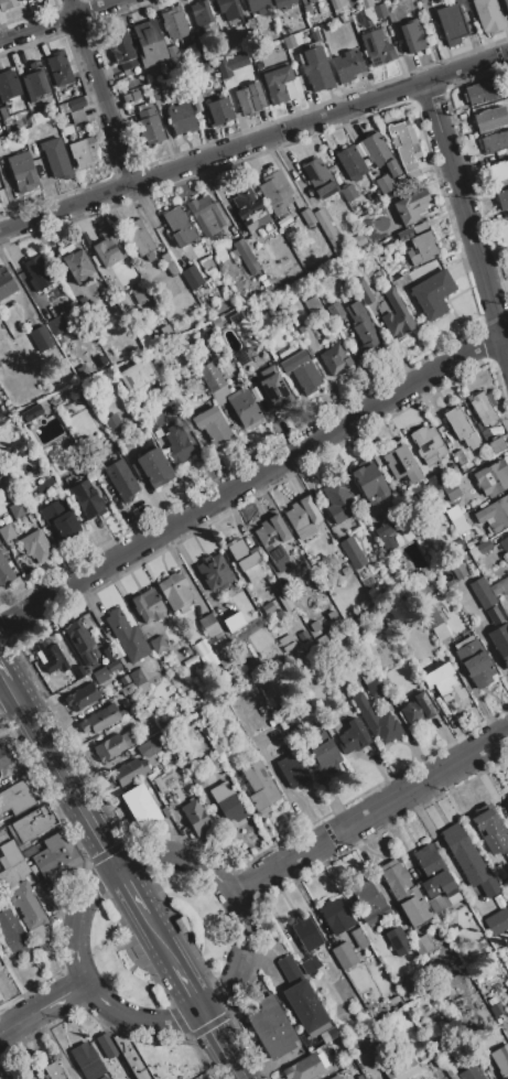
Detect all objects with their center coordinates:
building: (25, 0)
building: (305, 0)
building: (310, 0)
building: (342, 2)
building: (282, 3)
building: (334, 3)
building: (366, 3)
building: (8, 4)
building: (256, 6)
building: (462, 6)
building: (506, 6)
building: (228, 9)
building: (306, 10)
building: (379, 11)
building: (339, 12)
building: (487, 15)
building: (204, 18)
building: (344, 19)
road: (60, 21)
building: (174, 23)
building: (451, 24)
building: (270, 33)
building: (313, 33)
building: (411, 35)
building: (296, 39)
building: (288, 41)
building: (149, 43)
building: (197, 43)
building: (377, 47)
building: (121, 51)
building: (172, 52)
building: (347, 65)
building: (315, 67)
building: (58, 68)
building: (167, 72)
building: (33, 82)
building: (277, 83)
building: (8, 85)
building: (290, 89)
road: (102, 91)
building: (154, 91)
building: (482, 91)
building: (131, 96)
building: (249, 99)
building: (197, 101)
building: (76, 104)
building: (63, 108)
building: (218, 111)
building: (3, 112)
building: (76, 116)
building: (182, 118)
building: (490, 119)
building: (149, 125)
building: (495, 141)
road: (253, 143)
building: (404, 147)
building: (359, 149)
building: (0, 150)
building: (83, 152)
building: (378, 153)
building: (56, 160)
building: (350, 162)
building: (22, 171)
building: (499, 171)
building: (318, 179)
building: (382, 185)
building: (274, 192)
building: (502, 198)
building: (247, 206)
building: (410, 206)
building: (204, 215)
road: (467, 216)
building: (306, 217)
building: (179, 226)
building: (326, 227)
building: (420, 228)
building: (139, 237)
building: (358, 238)
building: (421, 247)
building: (106, 248)
building: (235, 253)
building: (246, 256)
building: (393, 257)
building: (95, 260)
building: (167, 263)
building: (206, 263)
building: (77, 265)
building: (212, 272)
building: (417, 272)
building: (37, 273)
building: (191, 277)
building: (4, 284)
building: (363, 291)
building: (196, 292)
building: (433, 293)
building: (139, 295)
building: (80, 303)
building: (312, 304)
building: (334, 310)
building: (394, 315)
building: (235, 316)
building: (56, 324)
building: (301, 328)
building: (363, 330)
building: (39, 338)
building: (261, 357)
building: (334, 359)
building: (0, 365)
building: (300, 369)
building: (24, 373)
building: (137, 375)
building: (210, 377)
building: (273, 388)
building: (220, 395)
building: (244, 406)
building: (484, 408)
building: (31, 412)
building: (457, 423)
building: (114, 425)
building: (212, 428)
building: (177, 444)
building: (426, 444)
building: (494, 446)
building: (460, 457)
building: (400, 464)
building: (152, 467)
building: (491, 478)
building: (121, 479)
building: (368, 481)
building: (4, 482)
road: (251, 482)
building: (45, 486)
building: (451, 492)
building: (87, 498)
building: (337, 501)
building: (18, 509)
building: (454, 511)
building: (494, 514)
building: (303, 517)
building: (61, 519)
building: (461, 525)
building: (7, 531)
building: (385, 536)
building: (467, 537)
building: (273, 540)
building: (504, 543)
building: (468, 544)
building: (35, 546)
building: (480, 548)
building: (353, 551)
building: (245, 559)
building: (456, 567)
building: (345, 571)
building: (4, 572)
building: (214, 572)
building: (175, 592)
building: (482, 592)
building: (284, 602)
building: (147, 606)
building: (267, 607)
building: (278, 613)
building: (332, 615)
building: (432, 618)
building: (234, 622)
building: (208, 625)
building: (314, 626)
building: (440, 632)
building: (127, 636)
building: (79, 641)
building: (500, 644)
building: (158, 645)
building: (218, 646)
building: (202, 648)
building: (106, 655)
building: (52, 656)
building: (225, 657)
building: (208, 660)
building: (474, 661)
building: (191, 662)
building: (78, 671)
building: (87, 671)
road: (3, 673)
building: (99, 673)
building: (72, 677)
building: (367, 678)
building: (139, 679)
building: (444, 683)
building: (374, 687)
building: (127, 689)
road: (15, 693)
building: (82, 697)
road: (11, 702)
building: (423, 704)
building: (412, 713)
building: (141, 714)
building: (100, 719)
building: (377, 721)
building: (352, 736)
building: (217, 745)
building: (109, 747)
building: (149, 747)
building: (325, 754)
building: (4, 756)
building: (187, 767)
building: (291, 770)
building: (129, 773)
building: (195, 779)
road: (71, 785)
building: (159, 785)
building: (259, 787)
building: (15, 798)
building: (507, 800)
building: (227, 802)
building: (140, 806)
building: (164, 811)
road: (370, 811)
building: (195, 818)
building: (31, 823)
building: (490, 832)
building: (28, 851)
building: (54, 852)
building: (463, 854)
building: (12, 855)
building: (507, 855)
building: (426, 859)
building: (3, 862)
road: (117, 865)
building: (504, 870)
building: (17, 874)
building: (7, 878)
building: (488, 886)
building: (441, 887)
road: (133, 888)
building: (477, 892)
building: (404, 893)
building: (367, 900)
building: (436, 904)
building: (30, 913)
building: (336, 916)
building: (497, 921)
building: (305, 932)
building: (13, 935)
park: (163, 935)
road: (161, 938)
building: (358, 938)
building: (397, 940)
building: (421, 945)
building: (378, 950)
building: (344, 954)
building: (310, 964)
building: (0, 969)
building: (507, 986)
road: (190, 988)
road: (63, 994)
building: (302, 999)
building: (495, 1013)
road: (19, 1019)
building: (502, 1026)
building: (271, 1027)
building: (331, 1032)
building: (106, 1044)
road: (223, 1045)
building: (441, 1051)
building: (424, 1056)
building: (132, 1058)
building: (500, 1059)
building: (86, 1060)
building: (169, 1060)
building: (303, 1068)
building: (448, 1068)
building: (402, 1070)
building: (53, 1071)
building: (471, 1073)
building: (203, 1076)
building: (102, 1077)
building: (334, 1077)
building: (363, 1078)

